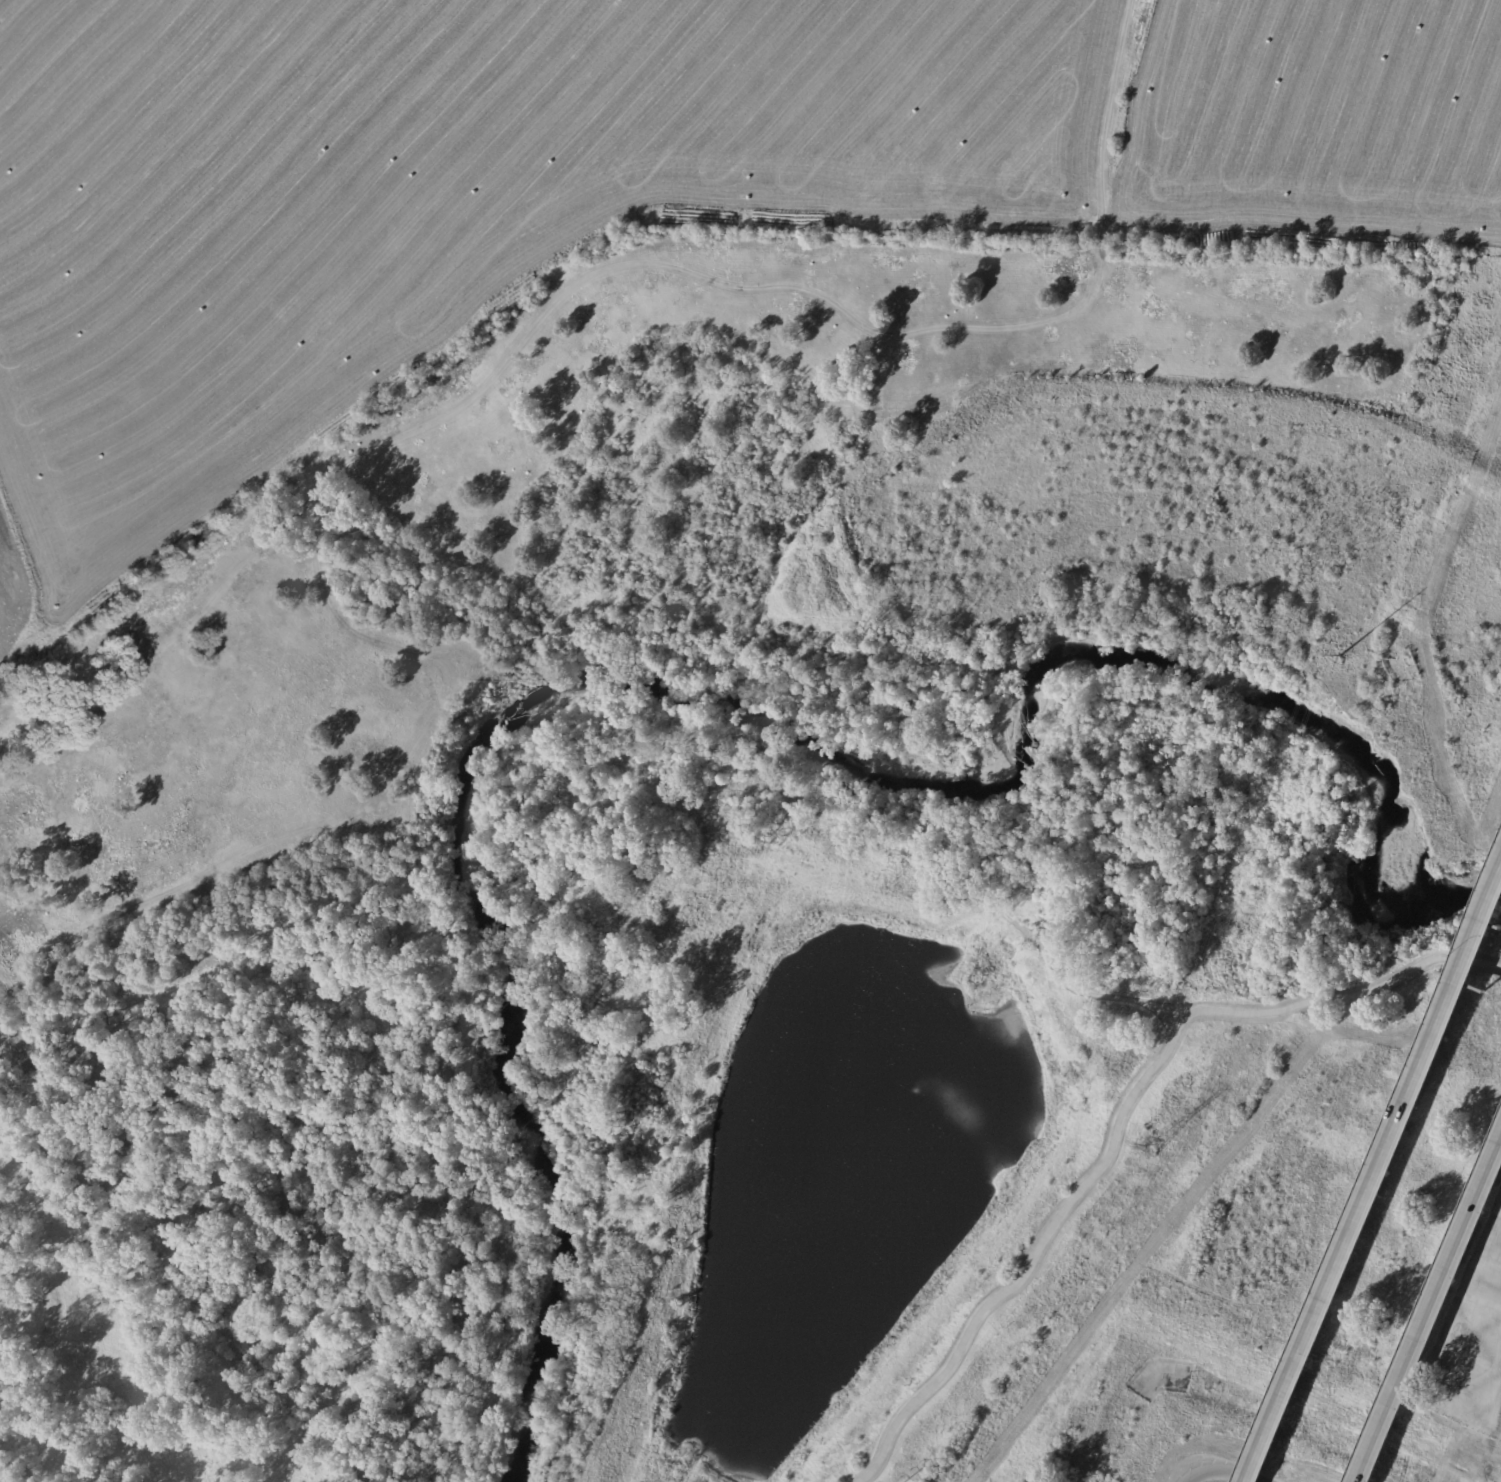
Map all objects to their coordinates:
power tower: (1348, 656)
river: (724, 714)
road: (1118, 1117)
power tower: (1161, 1142)
road: (1377, 1179)
road: (1433, 1319)
road: (1218, 1469)

